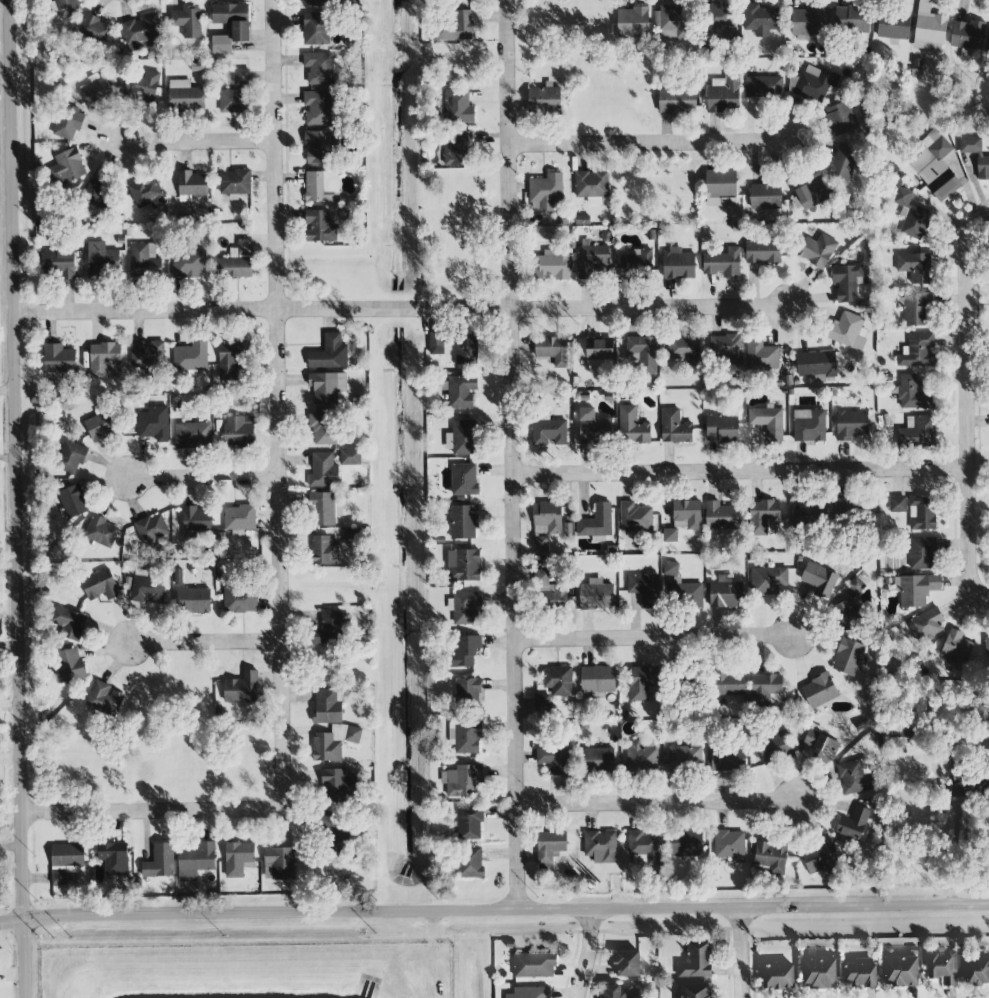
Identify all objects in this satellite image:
building: (314, 2)
building: (67, 7)
building: (720, 16)
building: (851, 18)
building: (233, 19)
building: (761, 19)
building: (187, 21)
building: (807, 21)
building: (682, 24)
building: (457, 26)
building: (893, 26)
building: (95, 28)
building: (316, 29)
building: (929, 31)
building: (141, 32)
building: (968, 35)
building: (221, 44)
building: (988, 44)
building: (320, 67)
building: (813, 83)
building: (764, 86)
building: (142, 87)
building: (97, 90)
building: (724, 93)
building: (236, 95)
building: (185, 96)
building: (544, 99)
building: (677, 101)
building: (459, 105)
building: (840, 118)
building: (68, 124)
road: (198, 142)
road: (650, 142)
building: (318, 146)
building: (457, 149)
building: (842, 162)
building: (68, 166)
building: (937, 167)
building: (982, 167)
building: (234, 184)
building: (592, 184)
building: (192, 185)
building: (322, 186)
building: (720, 187)
building: (546, 191)
building: (146, 193)
building: (94, 194)
building: (810, 194)
building: (765, 196)
building: (911, 215)
road: (985, 216)
building: (319, 226)
building: (817, 249)
building: (763, 251)
building: (102, 259)
building: (591, 260)
building: (144, 261)
building: (236, 261)
building: (59, 263)
building: (189, 263)
building: (721, 263)
building: (553, 264)
building: (678, 264)
building: (634, 266)
building: (915, 267)
building: (847, 281)
road: (402, 308)
building: (916, 309)
building: (848, 331)
building: (436, 342)
building: (466, 348)
building: (593, 349)
building: (683, 349)
building: (727, 349)
building: (552, 350)
building: (917, 351)
building: (146, 353)
building: (329, 353)
building: (645, 353)
building: (191, 356)
building: (763, 356)
building: (59, 359)
building: (104, 360)
building: (227, 361)
building: (326, 387)
building: (460, 391)
road: (8, 392)
building: (913, 394)
road: (965, 398)
road: (280, 405)
building: (767, 421)
building: (154, 423)
building: (100, 425)
building: (809, 425)
building: (851, 425)
building: (632, 426)
building: (594, 427)
building: (674, 427)
building: (323, 428)
building: (721, 428)
building: (239, 430)
building: (548, 432)
building: (918, 433)
building: (192, 435)
building: (461, 437)
building: (72, 457)
building: (350, 457)
road: (516, 459)
building: (323, 471)
road: (742, 473)
road: (207, 477)
building: (464, 480)
road: (17, 498)
building: (73, 501)
building: (897, 504)
building: (325, 509)
building: (922, 513)
building: (686, 514)
building: (721, 516)
building: (763, 516)
building: (635, 518)
building: (239, 519)
building: (547, 519)
building: (196, 521)
building: (463, 522)
building: (596, 522)
building: (152, 528)
building: (100, 531)
building: (670, 535)
building: (540, 544)
building: (324, 549)
building: (922, 553)
building: (463, 565)
building: (819, 579)
building: (767, 580)
building: (99, 585)
building: (856, 585)
building: (146, 587)
building: (644, 589)
building: (917, 589)
building: (551, 592)
building: (726, 592)
road: (980, 593)
building: (596, 595)
building: (690, 595)
building: (240, 599)
building: (194, 600)
building: (465, 608)
building: (846, 615)
building: (70, 623)
building: (927, 625)
building: (333, 627)
road: (657, 638)
road: (209, 644)
building: (987, 647)
building: (957, 648)
building: (464, 652)
building: (849, 657)
building: (69, 664)
building: (597, 679)
building: (558, 680)
building: (730, 682)
building: (640, 684)
building: (241, 688)
building: (767, 689)
building: (819, 690)
building: (468, 692)
building: (104, 699)
building: (542, 704)
building: (328, 706)
building: (465, 736)
building: (334, 742)
building: (820, 745)
building: (775, 747)
building: (642, 756)
building: (684, 757)
building: (728, 759)
building: (554, 760)
building: (598, 760)
building: (853, 777)
building: (462, 780)
building: (333, 784)
road: (658, 803)
road: (153, 813)
building: (469, 823)
building: (854, 824)
building: (339, 839)
building: (684, 843)
building: (730, 845)
building: (600, 846)
building: (643, 846)
building: (549, 847)
road: (953, 855)
building: (771, 856)
building: (820, 856)
building: (114, 858)
building: (238, 858)
building: (195, 860)
building: (65, 861)
building: (159, 861)
building: (470, 862)
building: (279, 863)
road: (494, 919)
road: (741, 954)
road: (576, 959)
building: (696, 960)
building: (627, 964)
building: (534, 965)
building: (943, 967)
building: (901, 971)
building: (978, 972)
building: (819, 973)
building: (861, 973)
building: (778, 976)
building: (620, 991)
building: (695, 991)
building: (531, 992)

